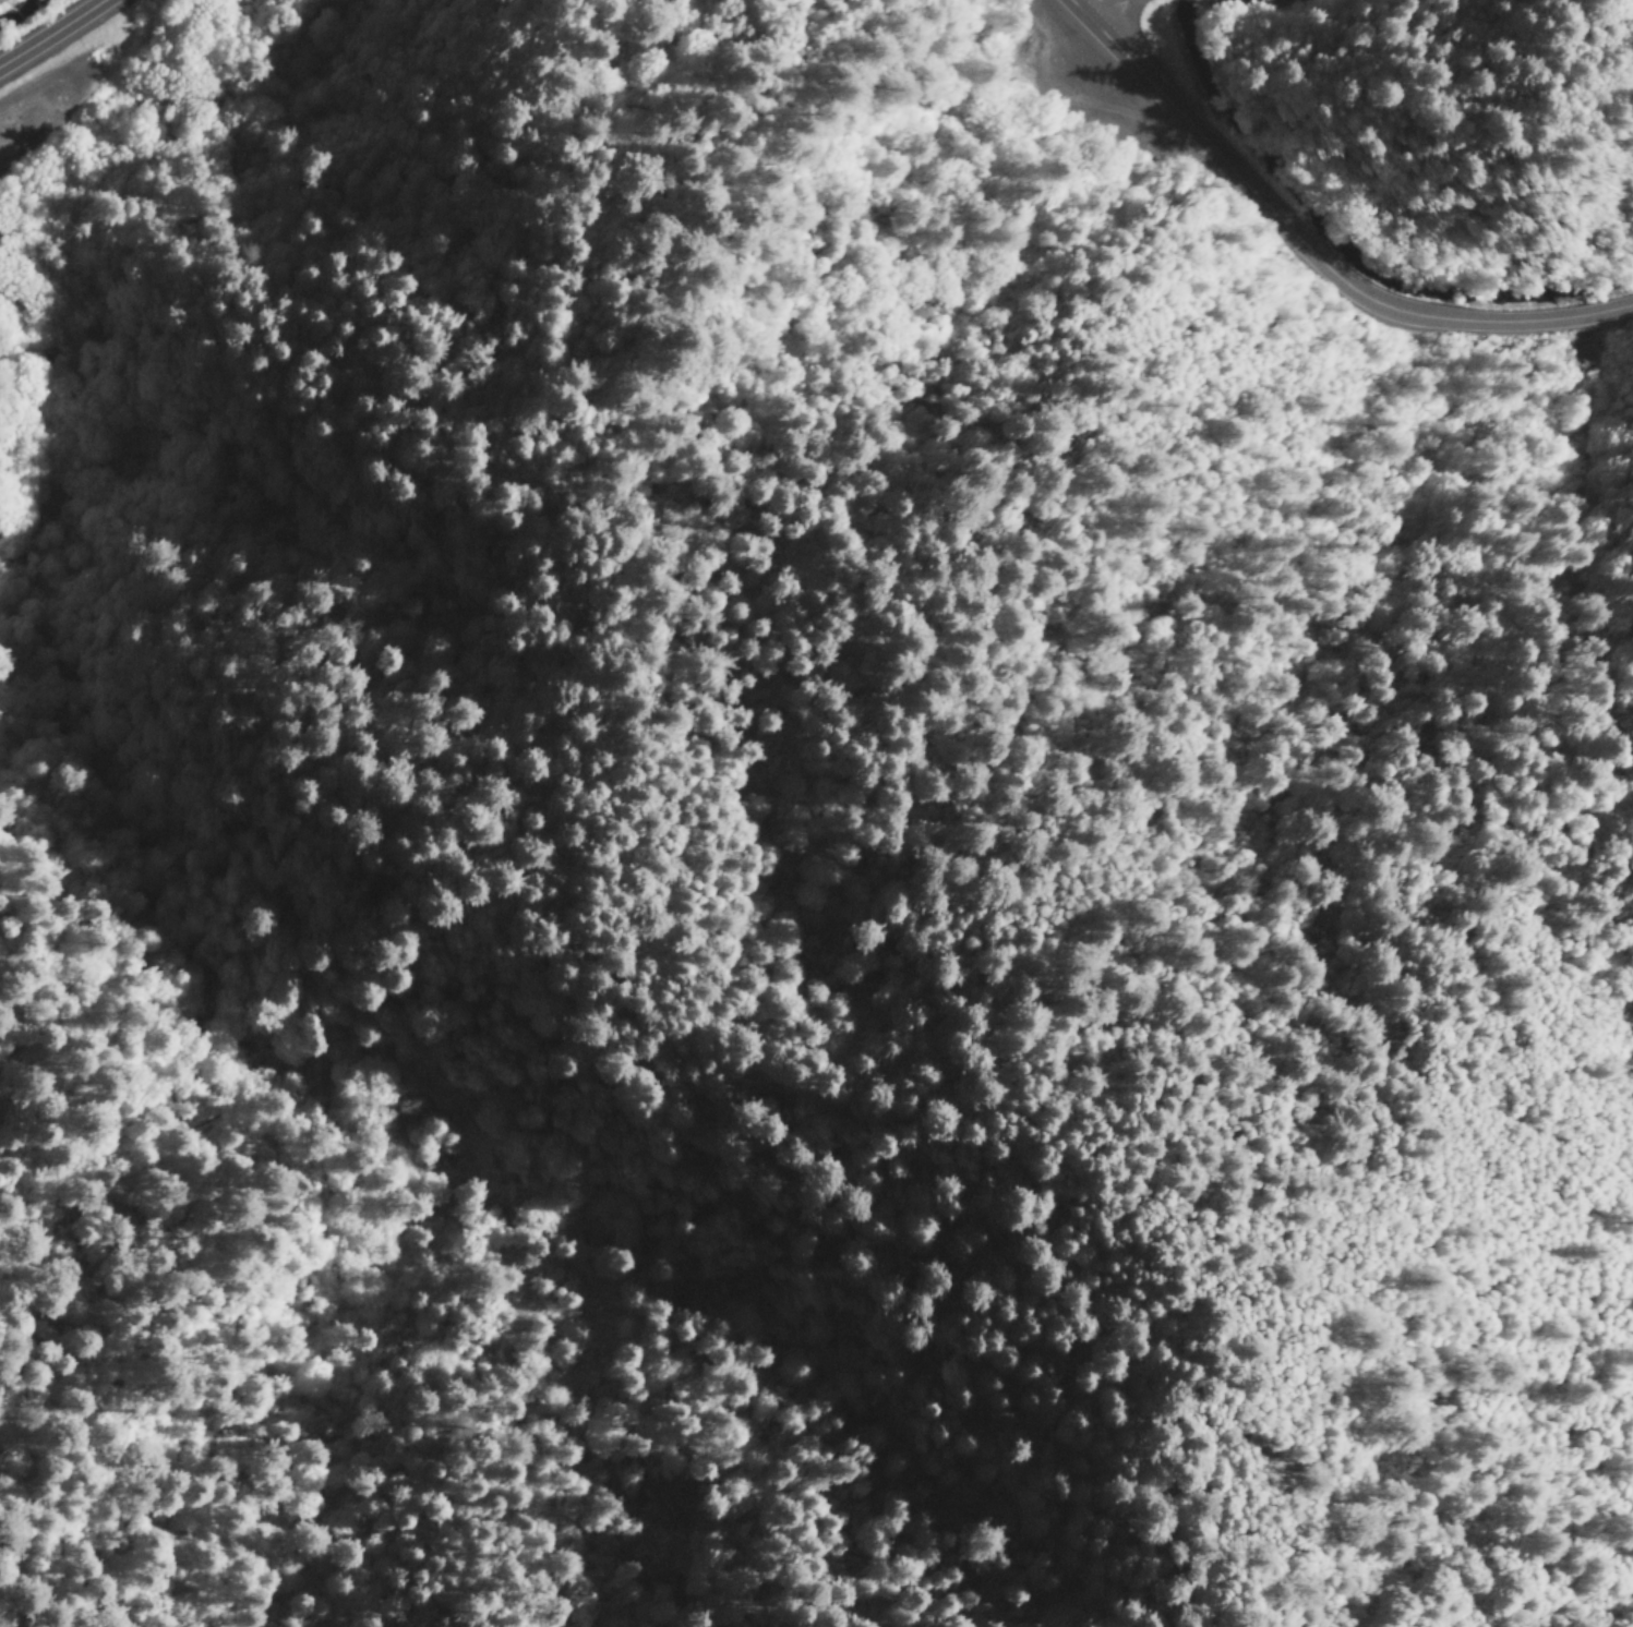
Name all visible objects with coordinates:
road: (1287, 5)
road: (1114, 12)
road: (52, 34)
road: (1308, 249)
road: (527, 327)
road: (1044, 1260)
road: (263, 1559)

